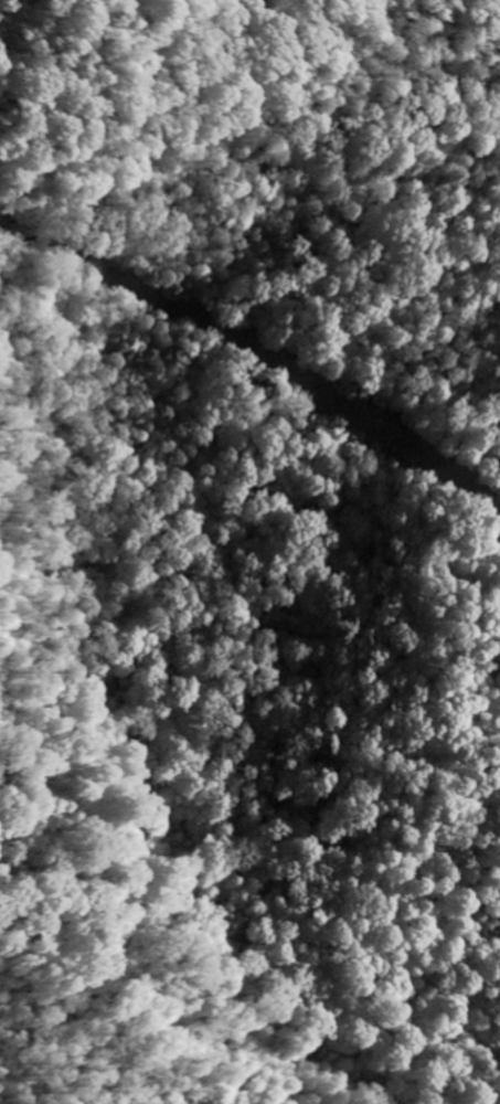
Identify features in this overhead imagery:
road: (251, 365)

